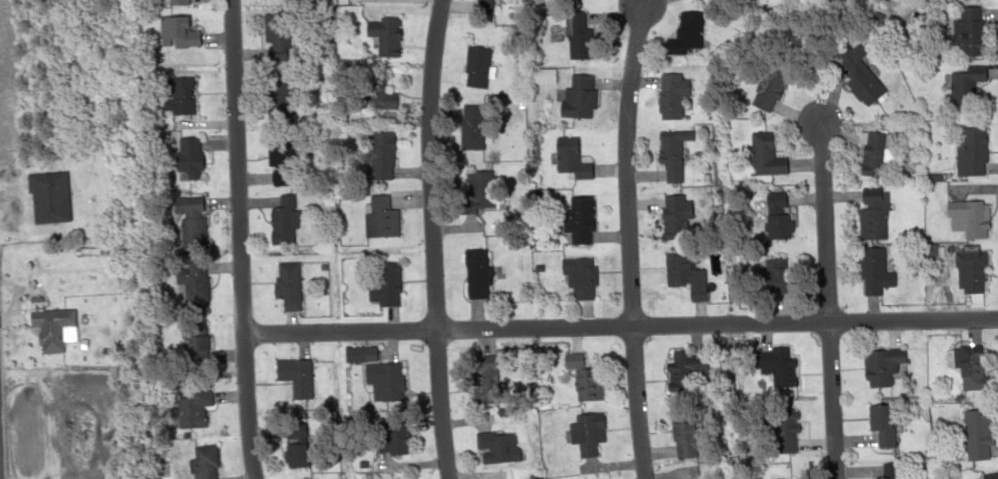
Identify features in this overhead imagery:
building: (174, 0)
building: (487, 0)
building: (690, 29)
building: (173, 31)
building: (971, 31)
building: (274, 35)
building: (385, 36)
building: (575, 37)
building: (473, 66)
building: (541, 76)
building: (859, 80)
building: (770, 87)
building: (961, 91)
building: (579, 95)
building: (669, 95)
building: (179, 97)
building: (277, 97)
building: (379, 97)
building: (471, 128)
building: (974, 150)
building: (568, 152)
building: (763, 153)
building: (873, 153)
building: (380, 154)
building: (670, 155)
building: (186, 158)
building: (277, 160)
road: (623, 163)
building: (481, 188)
building: (45, 197)
building: (870, 214)
building: (672, 216)
building: (973, 217)
building: (379, 218)
building: (778, 218)
building: (578, 219)
building: (281, 220)
road: (821, 221)
building: (192, 223)
road: (236, 239)
road: (429, 239)
building: (678, 268)
building: (971, 269)
building: (576, 270)
building: (872, 270)
building: (474, 272)
building: (776, 276)
building: (193, 281)
building: (386, 283)
building: (286, 288)
road: (619, 326)
building: (47, 330)
building: (196, 345)
building: (779, 366)
building: (876, 367)
building: (970, 367)
building: (682, 370)
building: (297, 378)
building: (584, 380)
building: (390, 381)
building: (485, 383)
road: (827, 400)
road: (631, 402)
building: (190, 412)
building: (883, 425)
building: (781, 426)
building: (582, 433)
building: (395, 435)
building: (976, 435)
building: (683, 437)
building: (490, 447)
building: (294, 448)
building: (202, 463)
building: (884, 471)
building: (779, 472)
building: (990, 476)

